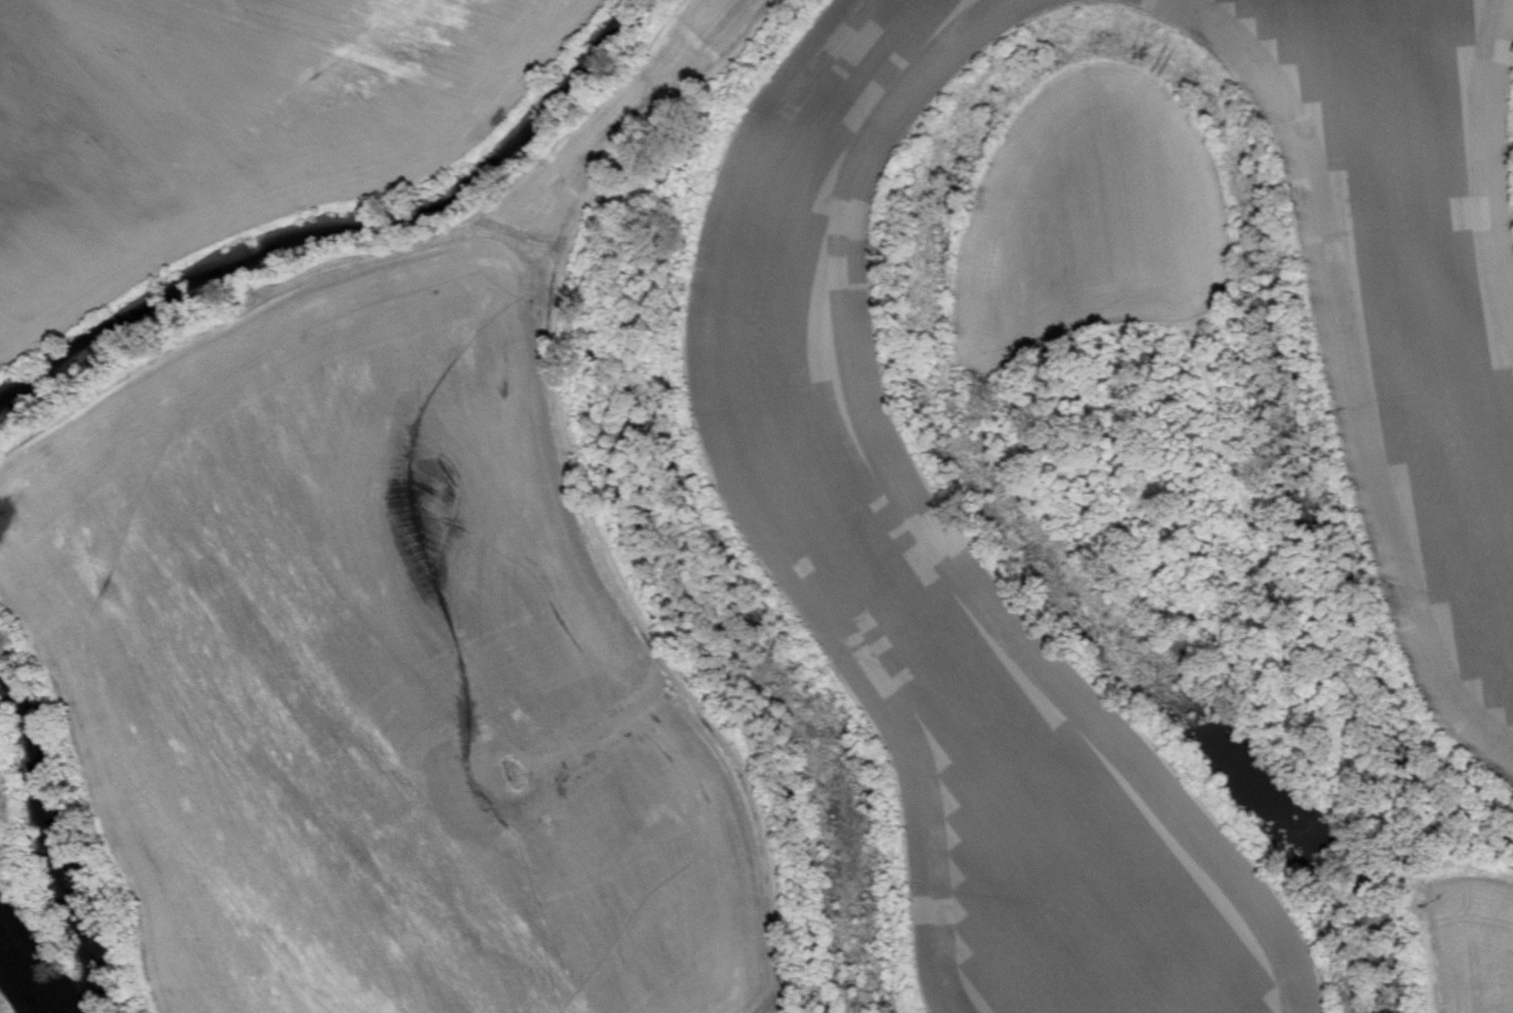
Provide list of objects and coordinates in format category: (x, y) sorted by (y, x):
road: (533, 499)
road: (1405, 905)

